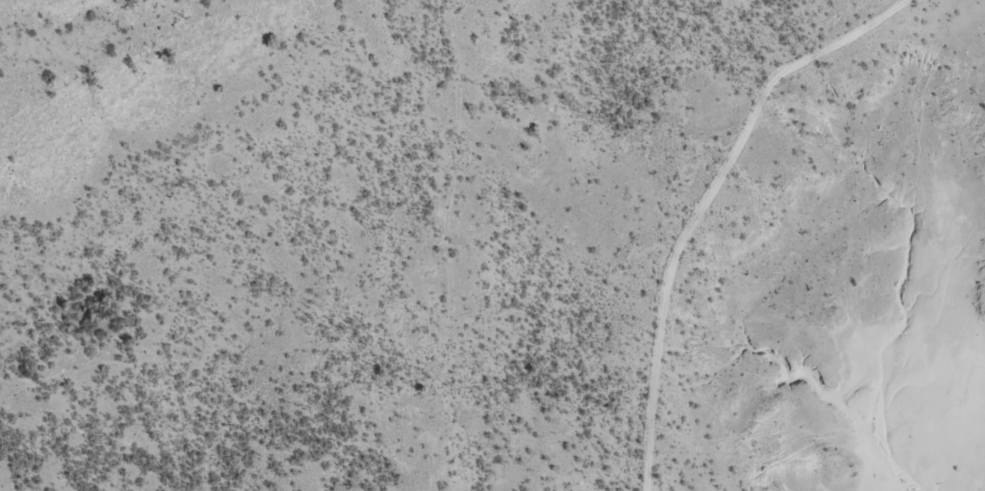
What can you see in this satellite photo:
road: (700, 211)

